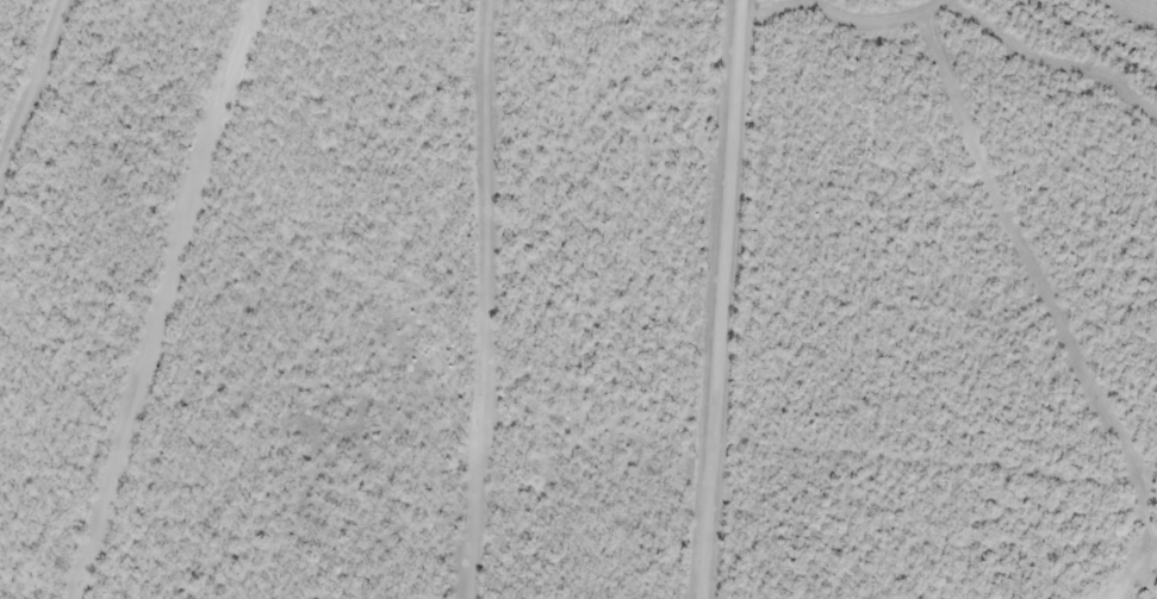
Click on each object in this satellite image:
road: (745, 299)

